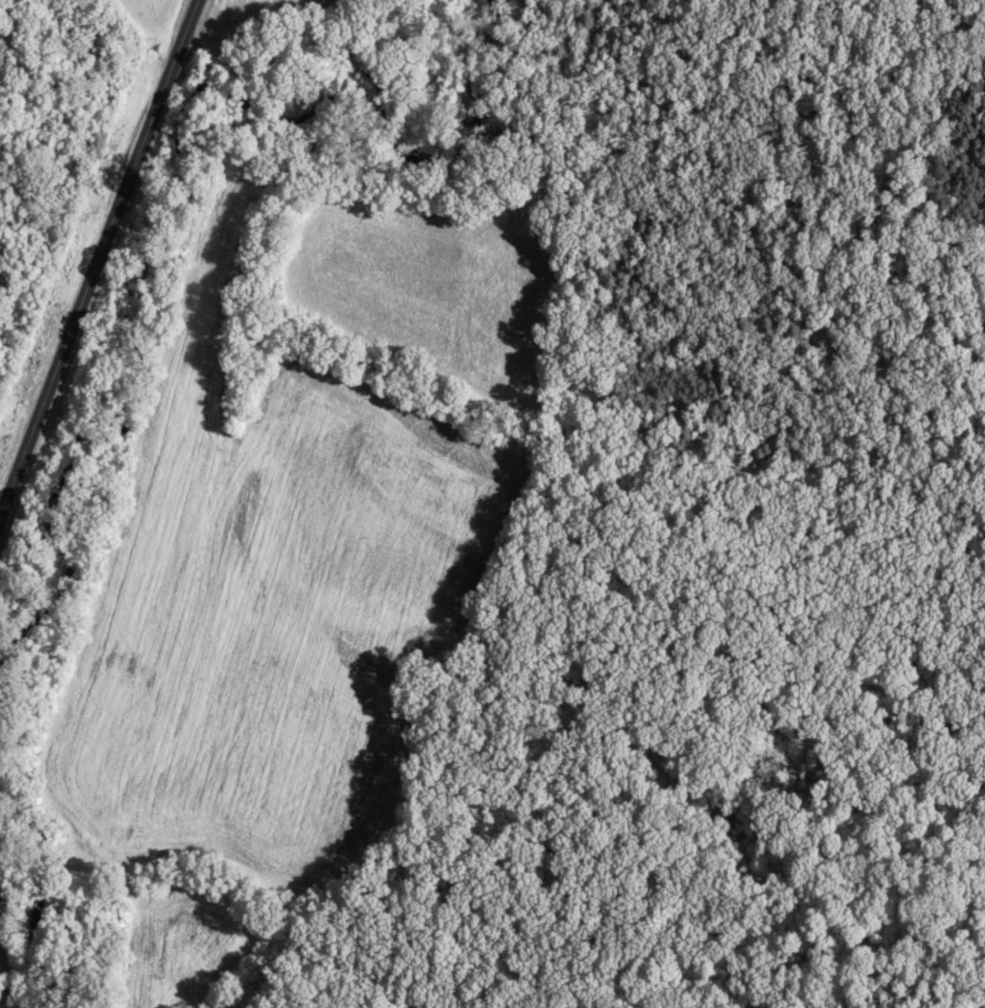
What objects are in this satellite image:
road: (101, 261)

